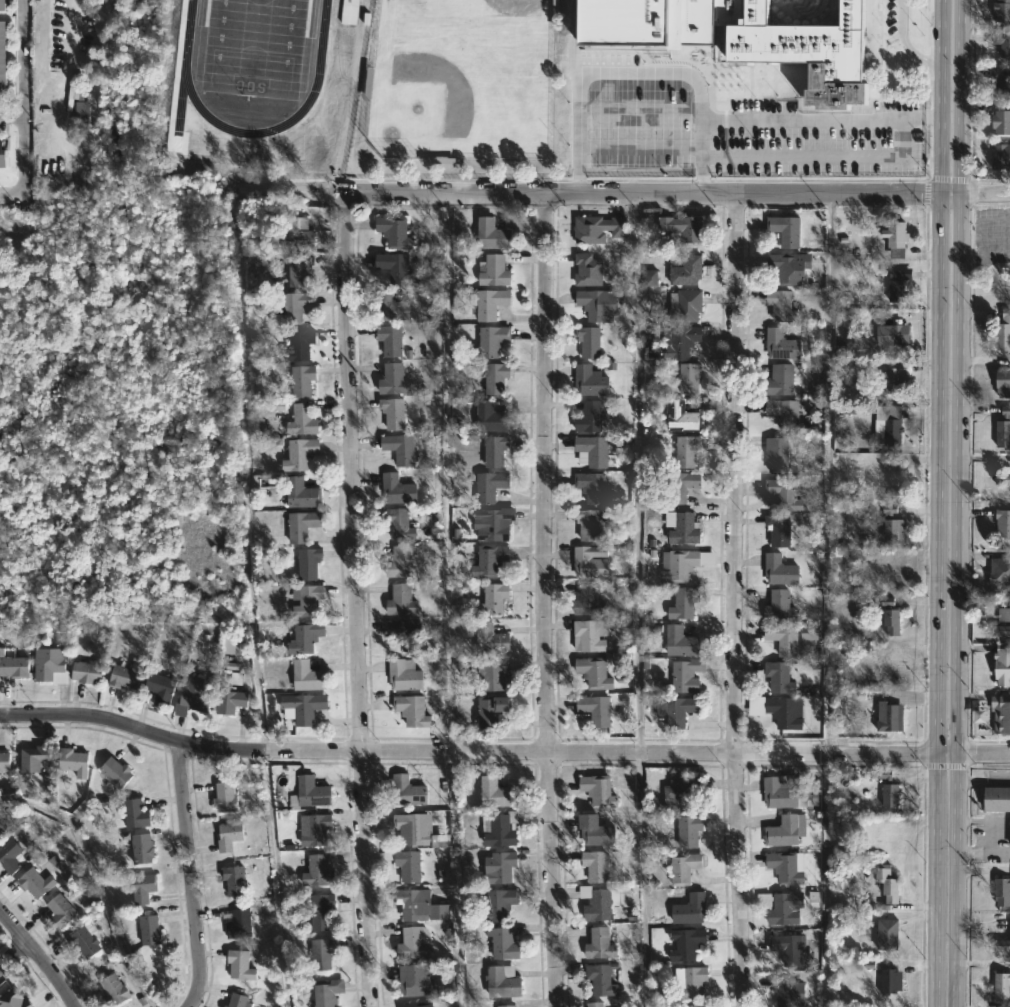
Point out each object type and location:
building: (4, 5)
building: (1001, 13)
building: (739, 39)
road: (907, 40)
building: (1002, 42)
park: (252, 46)
building: (4, 55)
park: (462, 78)
road: (938, 79)
building: (1001, 80)
road: (955, 98)
road: (20, 109)
building: (78, 112)
road: (10, 120)
building: (1001, 121)
parking lot: (719, 124)
road: (699, 140)
building: (4, 155)
building: (1001, 156)
building: (606, 158)
building: (666, 158)
building: (637, 159)
road: (938, 178)
road: (279, 191)
road: (627, 193)
road: (946, 196)
road: (982, 196)
building: (597, 227)
building: (681, 228)
building: (782, 230)
building: (392, 231)
building: (490, 232)
building: (895, 233)
building: (296, 234)
building: (788, 267)
building: (399, 269)
building: (493, 269)
building: (587, 269)
building: (686, 270)
building: (300, 271)
building: (896, 286)
building: (489, 302)
building: (595, 303)
building: (292, 305)
building: (684, 305)
building: (780, 305)
building: (389, 306)
building: (1003, 331)
building: (897, 335)
building: (389, 339)
building: (490, 341)
building: (591, 341)
building: (683, 341)
building: (299, 343)
building: (784, 345)
building: (498, 378)
building: (688, 378)
building: (300, 379)
building: (894, 379)
building: (395, 380)
building: (589, 380)
building: (780, 380)
building: (1002, 382)
building: (783, 410)
building: (395, 413)
building: (588, 416)
building: (489, 417)
building: (682, 417)
park: (121, 418)
building: (301, 420)
building: (1003, 429)
building: (892, 431)
building: (402, 448)
building: (591, 449)
building: (494, 450)
building: (685, 451)
building: (778, 453)
building: (298, 454)
road: (446, 472)
road: (829, 474)
building: (1002, 478)
building: (488, 486)
building: (682, 486)
building: (592, 487)
building: (399, 489)
building: (895, 489)
building: (300, 492)
building: (786, 493)
building: (1002, 522)
building: (494, 523)
building: (587, 523)
building: (300, 524)
building: (398, 524)
building: (681, 527)
building: (891, 527)
building: (778, 529)
building: (488, 561)
building: (398, 562)
building: (307, 563)
building: (587, 564)
building: (677, 564)
building: (778, 569)
building: (893, 573)
building: (1003, 576)
road: (354, 599)
building: (492, 599)
building: (307, 600)
road: (545, 600)
road: (633, 600)
building: (400, 601)
building: (588, 601)
road: (736, 601)
road: (935, 601)
road: (954, 601)
building: (686, 603)
building: (779, 606)
building: (1003, 614)
building: (891, 621)
building: (1002, 631)
building: (407, 634)
building: (590, 634)
building: (304, 636)
building: (790, 638)
building: (489, 639)
building: (680, 641)
building: (48, 665)
building: (1001, 665)
building: (13, 666)
building: (890, 667)
building: (84, 671)
building: (594, 672)
building: (491, 673)
building: (123, 675)
building: (304, 675)
building: (406, 675)
building: (687, 675)
building: (776, 678)
building: (160, 686)
building: (191, 696)
building: (229, 701)
building: (301, 708)
building: (594, 709)
building: (414, 711)
building: (489, 711)
building: (679, 711)
building: (781, 712)
building: (1001, 713)
building: (886, 717)
road: (502, 751)
building: (33, 758)
building: (3, 761)
building: (72, 761)
building: (114, 773)
building: (409, 790)
building: (598, 791)
building: (311, 792)
building: (782, 792)
building: (494, 793)
building: (679, 795)
building: (890, 795)
building: (223, 798)
building: (996, 801)
building: (137, 815)
building: (312, 829)
building: (411, 829)
building: (499, 829)
building: (594, 830)
building: (783, 830)
building: (689, 831)
building: (227, 836)
building: (141, 849)
road: (981, 854)
building: (8, 855)
building: (403, 863)
building: (598, 866)
building: (786, 866)
building: (499, 867)
building: (684, 867)
building: (316, 872)
road: (192, 878)
road: (826, 879)
building: (237, 880)
building: (33, 883)
building: (887, 883)
building: (140, 888)
building: (1002, 892)
building: (597, 903)
building: (422, 905)
building: (495, 905)
building: (689, 908)
building: (59, 911)
building: (782, 911)
building: (319, 912)
building: (236, 923)
building: (149, 929)
building: (885, 934)
building: (86, 940)
building: (412, 943)
building: (685, 943)
building: (502, 944)
building: (602, 944)
building: (1002, 945)
building: (786, 947)
road: (12, 953)
building: (321, 954)
road: (38, 958)
building: (239, 964)
building: (600, 979)
building: (689, 980)
building: (890, 980)
building: (414, 981)
building: (502, 982)
building: (999, 984)
building: (115, 989)
building: (785, 991)
building: (326, 992)
building: (236, 999)
building: (420, 1004)
building: (598, 1004)
building: (694, 1005)
building: (507, 1006)

